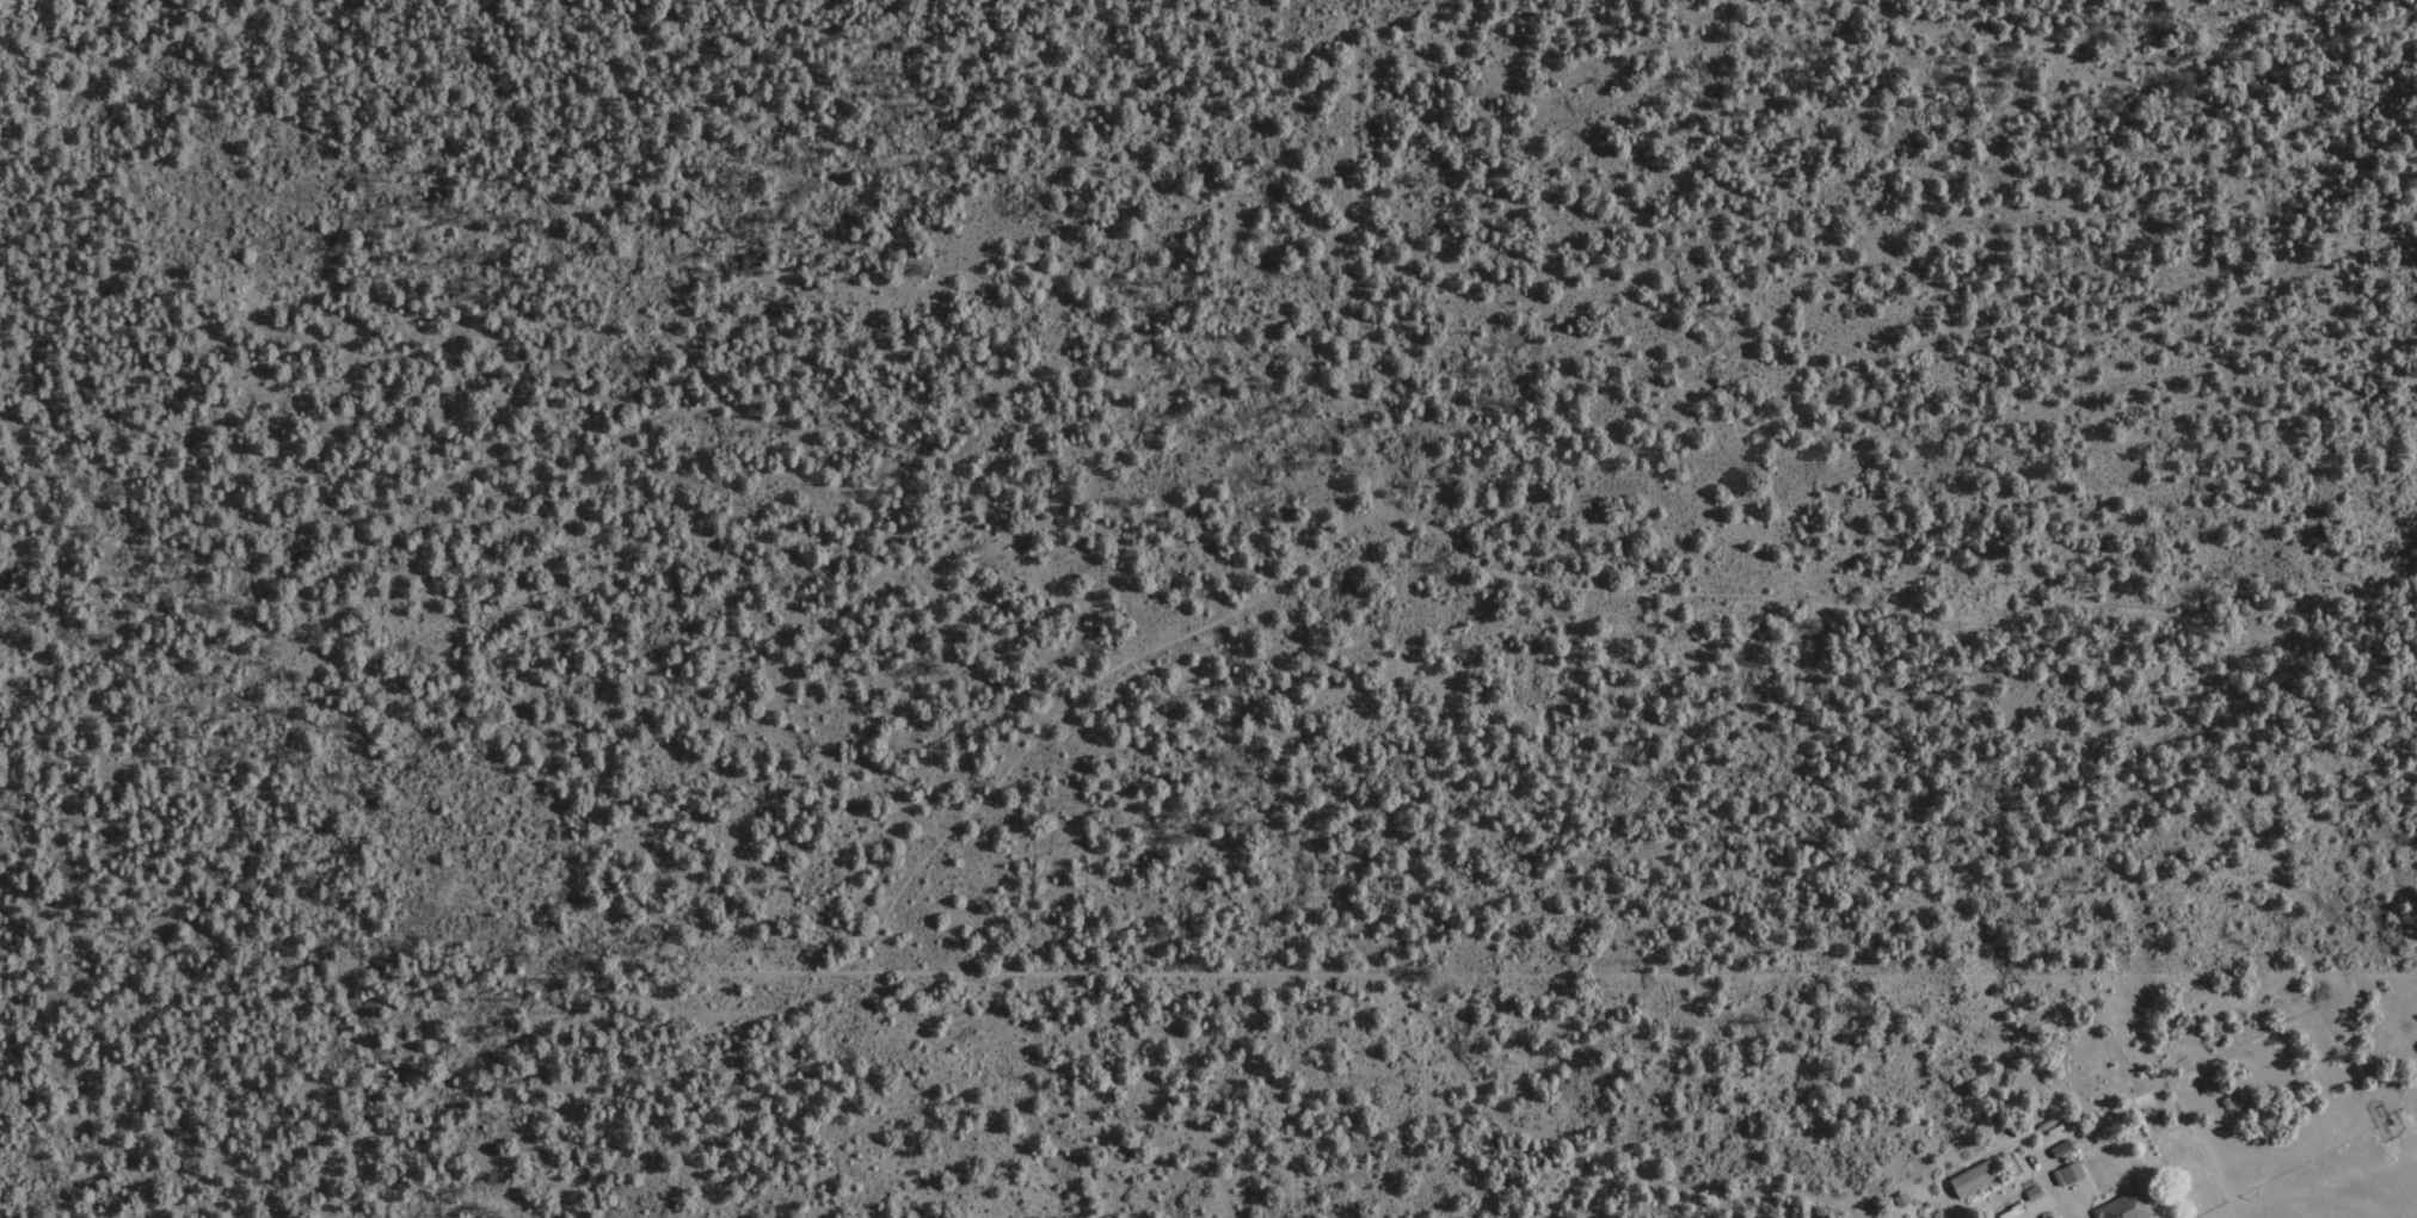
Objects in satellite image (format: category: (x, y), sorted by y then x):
road: (1352, 244)
road: (874, 933)
road: (1370, 974)
building: (2208, 1085)
building: (2062, 1149)
building: (2072, 1173)
building: (1975, 1179)
road: (2059, 1194)
building: (2126, 1207)

